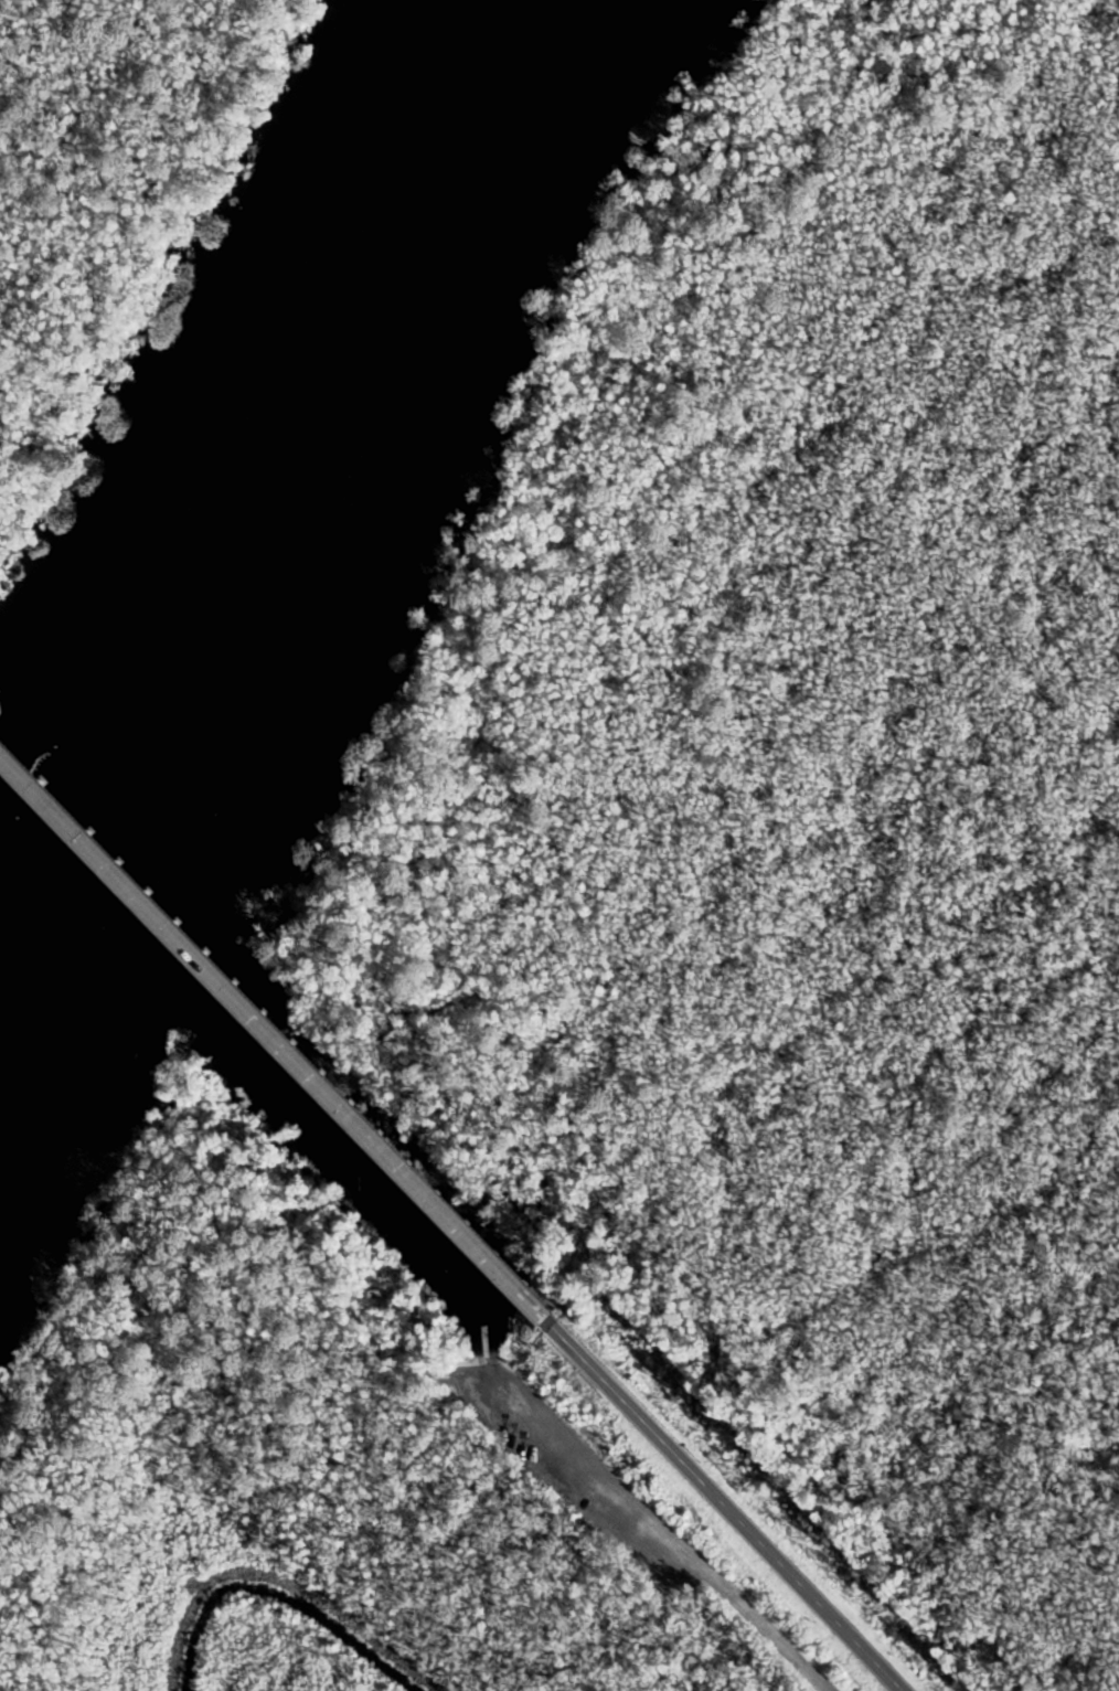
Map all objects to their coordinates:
river: (278, 482)
road: (14, 761)
road: (287, 1045)
road: (732, 1502)
road: (659, 1527)
parking lot: (694, 1555)

